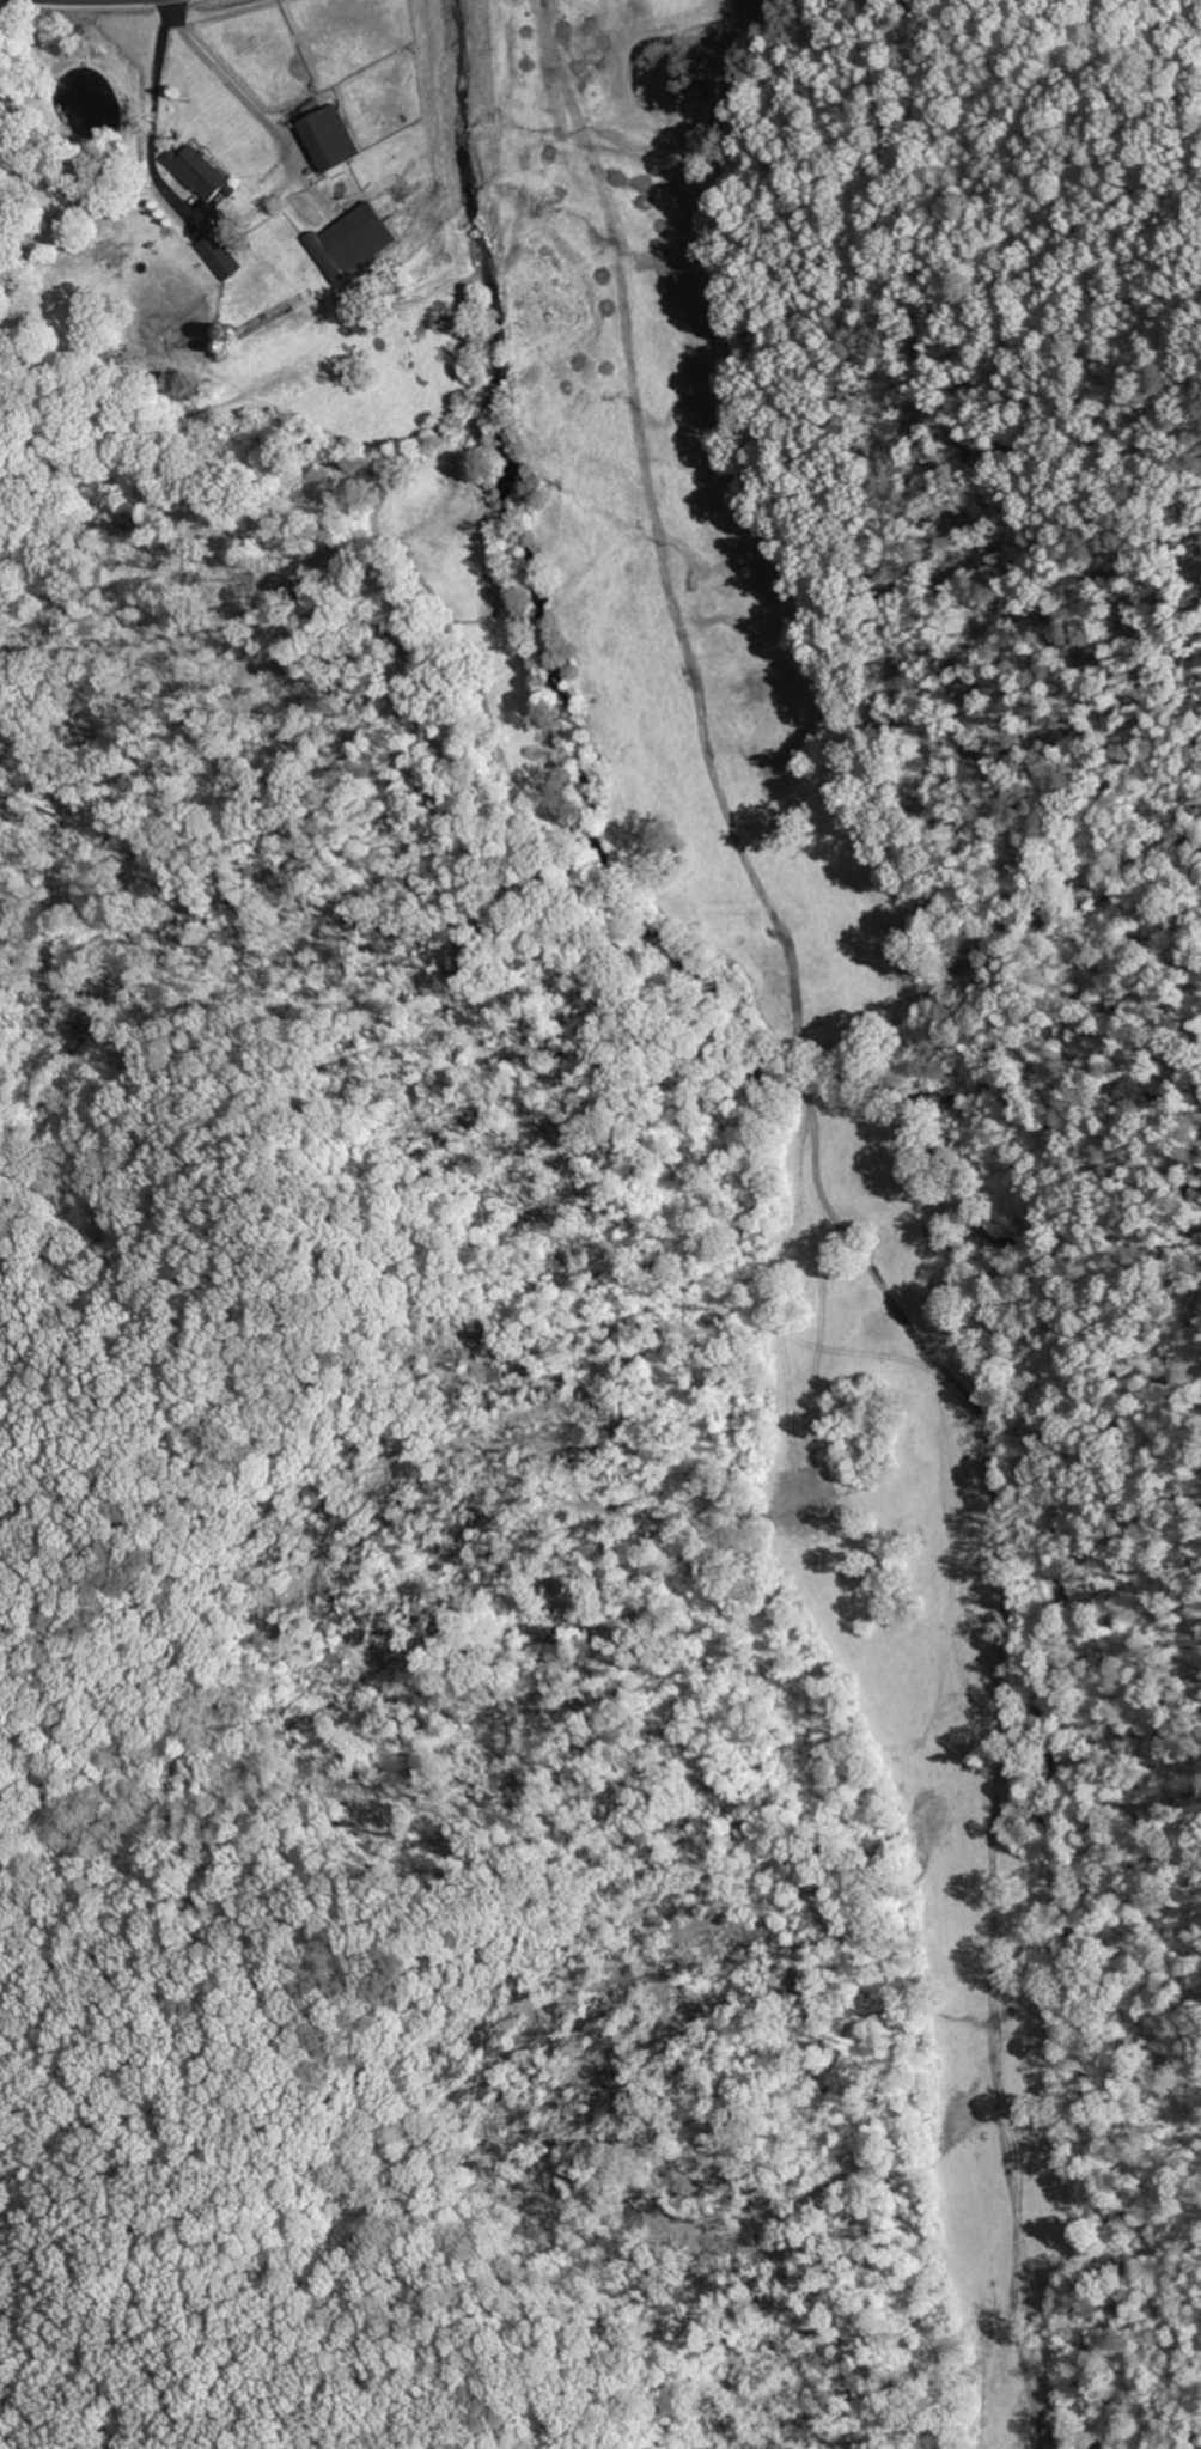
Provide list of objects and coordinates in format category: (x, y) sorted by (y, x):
building: (327, 138)
building: (200, 172)
building: (215, 255)
road: (1055, 1205)

